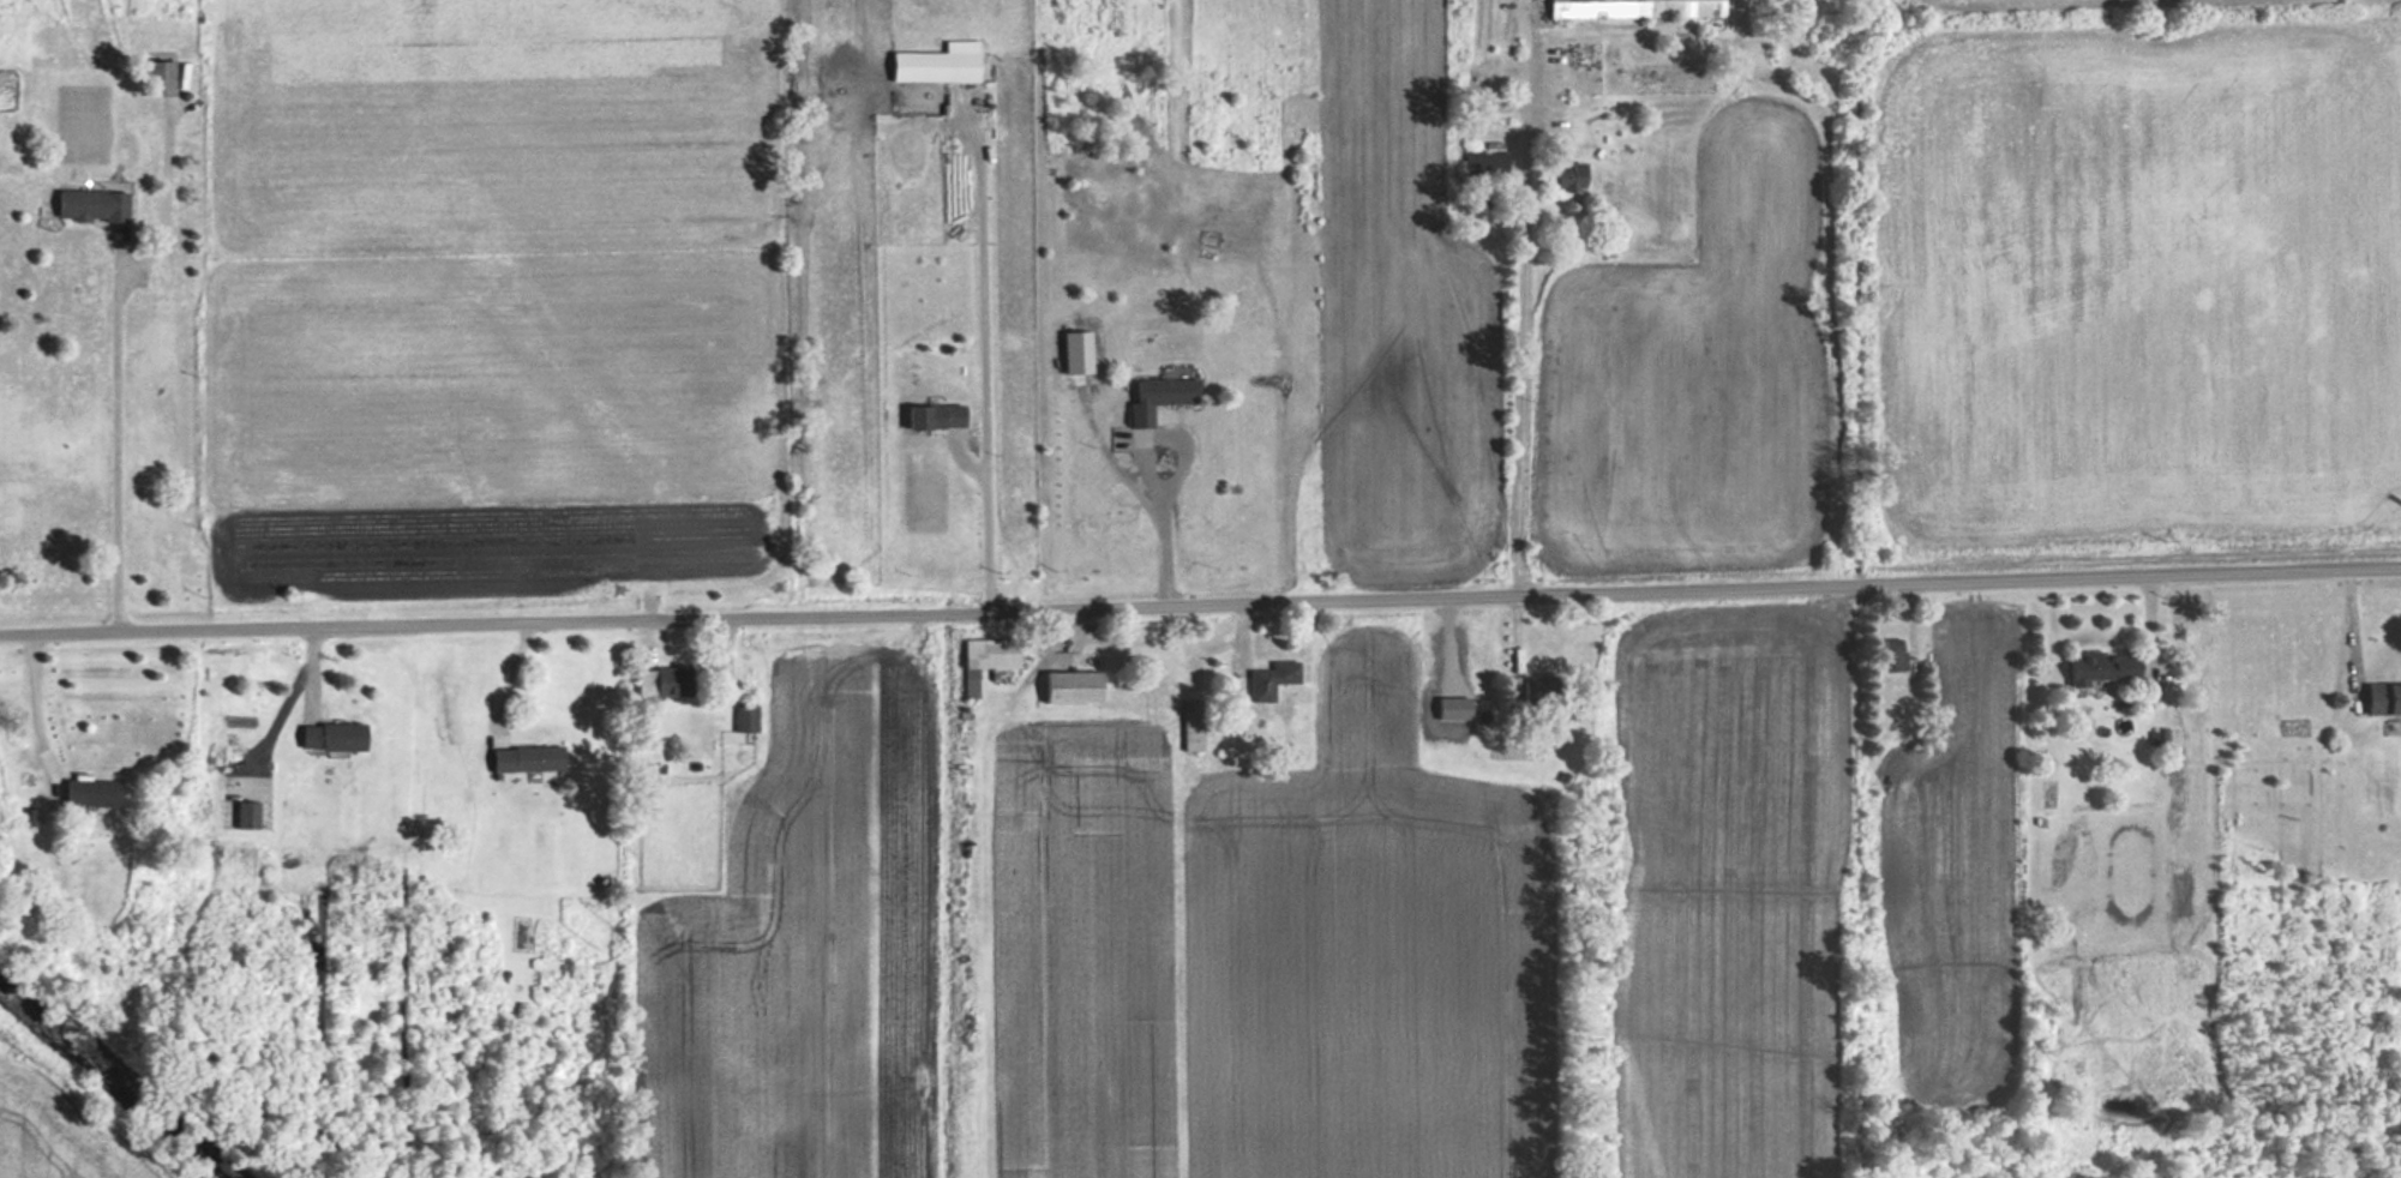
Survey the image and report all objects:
building: (1629, 8)
building: (928, 66)
building: (154, 78)
building: (1483, 164)
building: (1560, 176)
building: (83, 205)
road: (986, 349)
building: (1154, 393)
road: (1519, 397)
building: (929, 417)
road: (113, 434)
road: (1151, 467)
road: (1200, 602)
building: (1890, 653)
building: (980, 660)
building: (2094, 665)
building: (1266, 679)
building: (649, 681)
building: (1066, 687)
road: (30, 693)
building: (2378, 698)
building: (739, 717)
building: (1188, 725)
building: (324, 735)
building: (518, 758)
building: (82, 793)
building: (241, 815)

